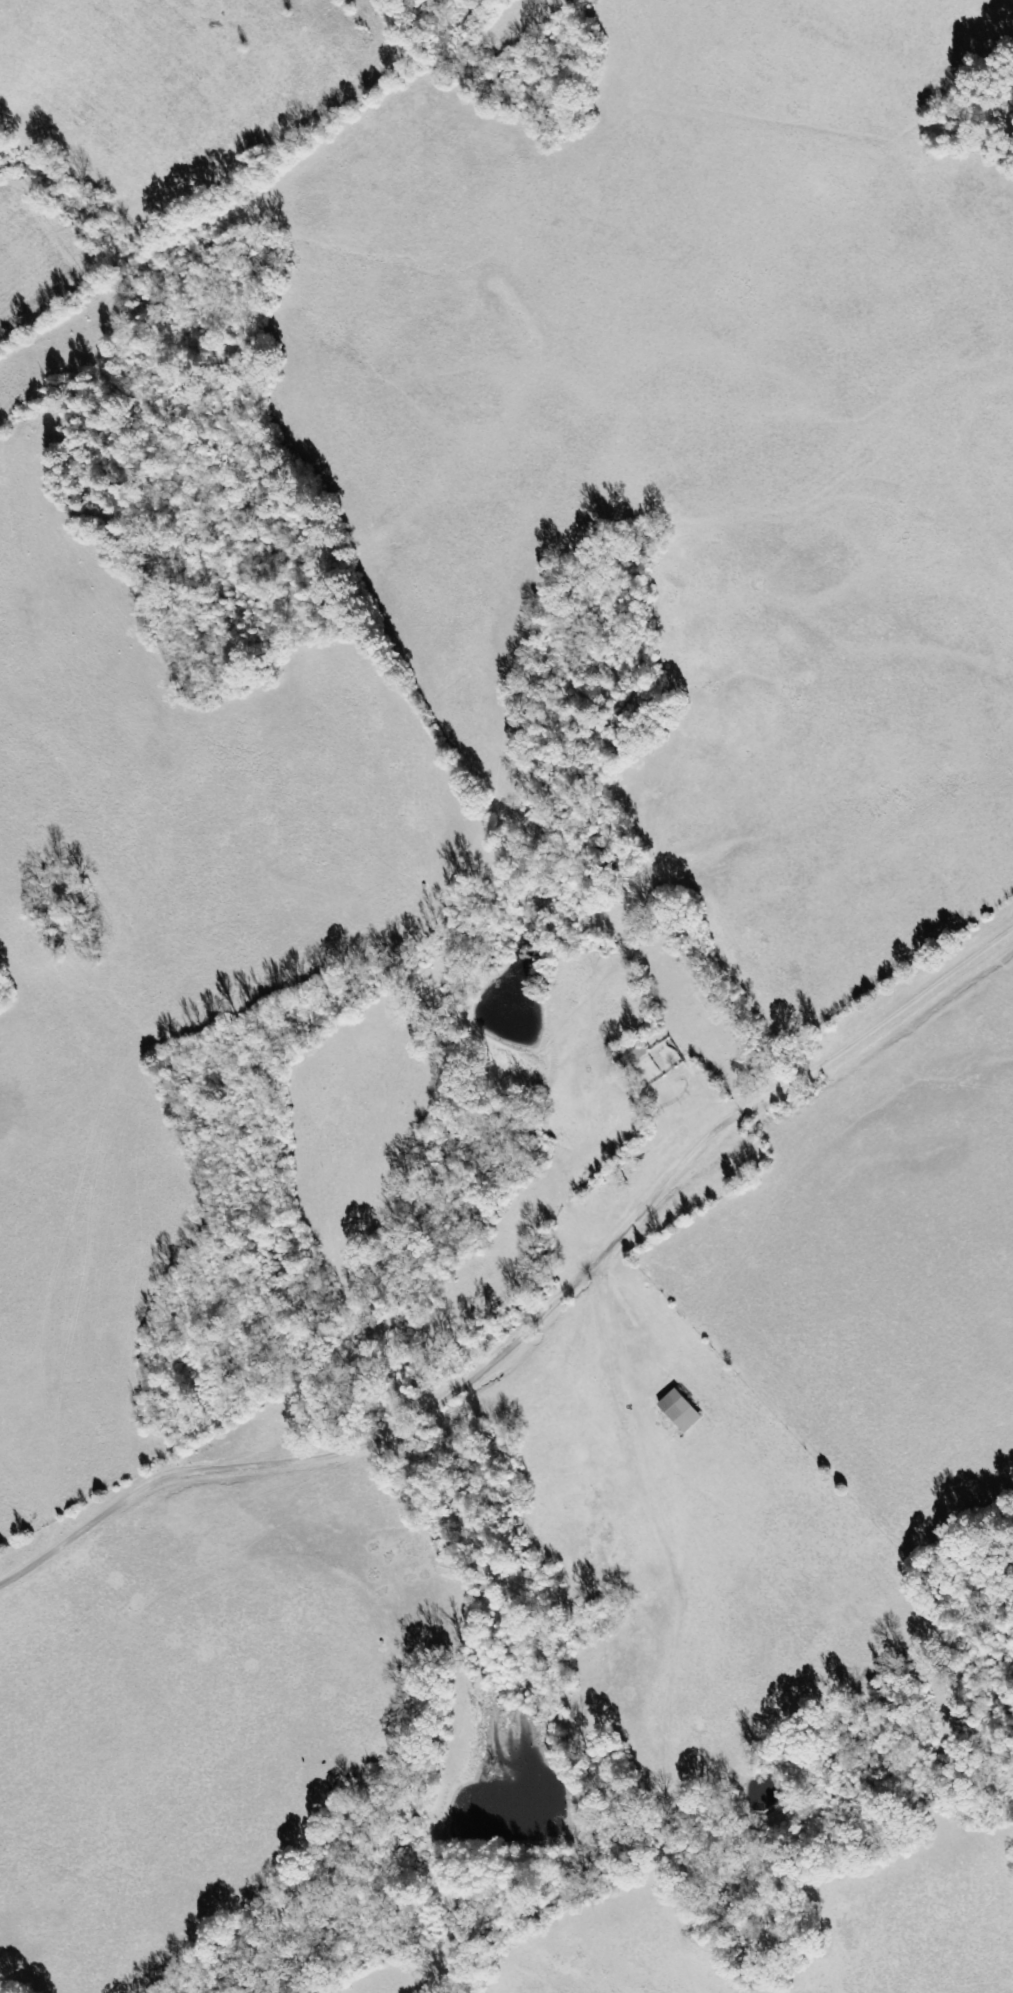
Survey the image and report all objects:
building: (682, 1410)

